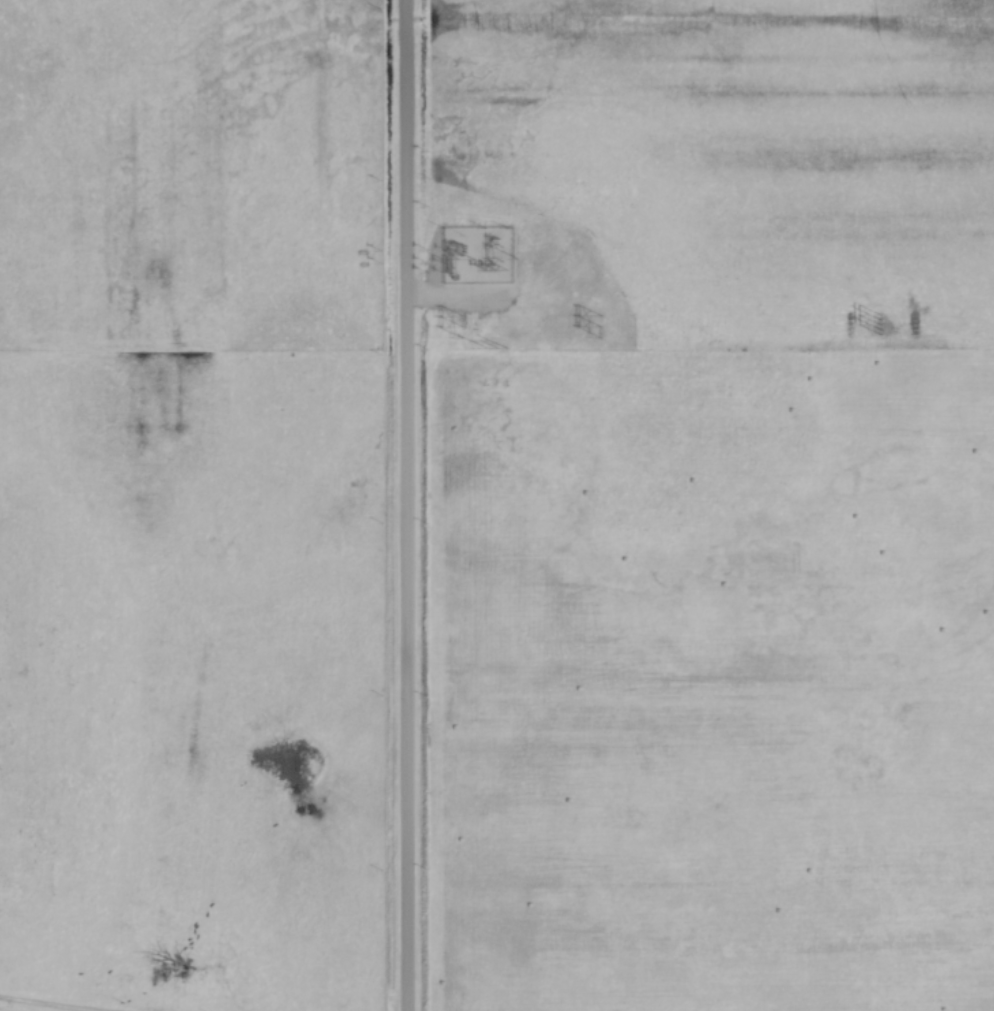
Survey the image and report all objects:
power substation: (476, 255)
power tower: (494, 270)
power tower: (880, 326)
power tower: (599, 327)
power tower: (461, 328)
power tower: (494, 348)
road: (407, 505)
road: (22, 1006)

